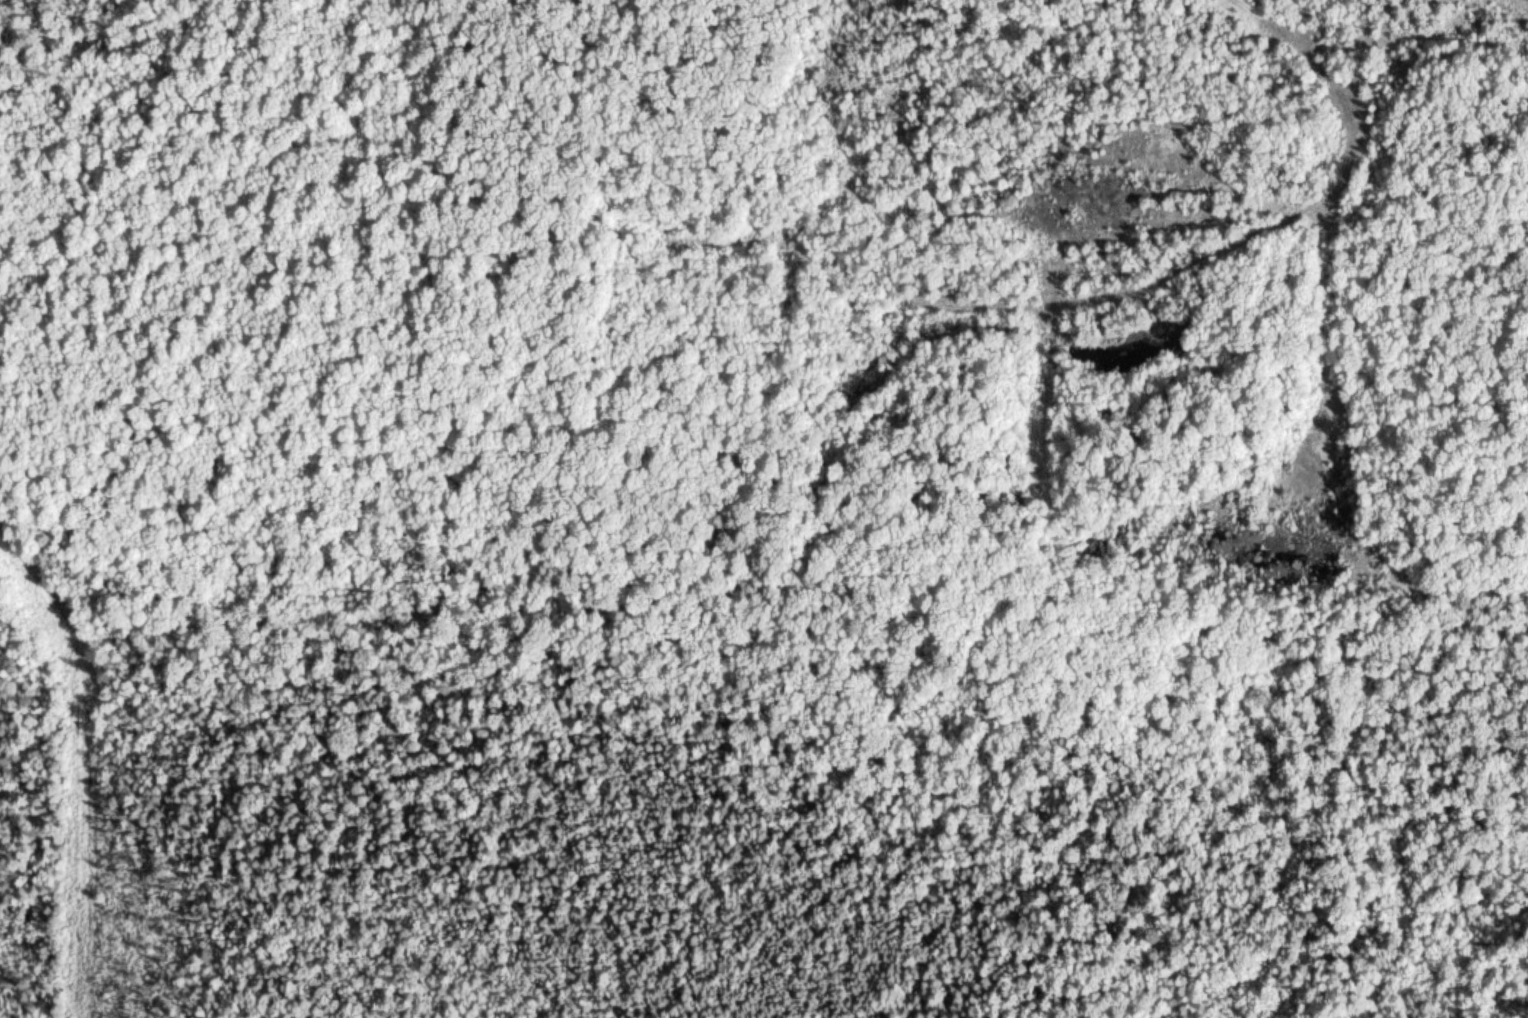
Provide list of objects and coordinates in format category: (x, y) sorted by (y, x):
road: (770, 256)

